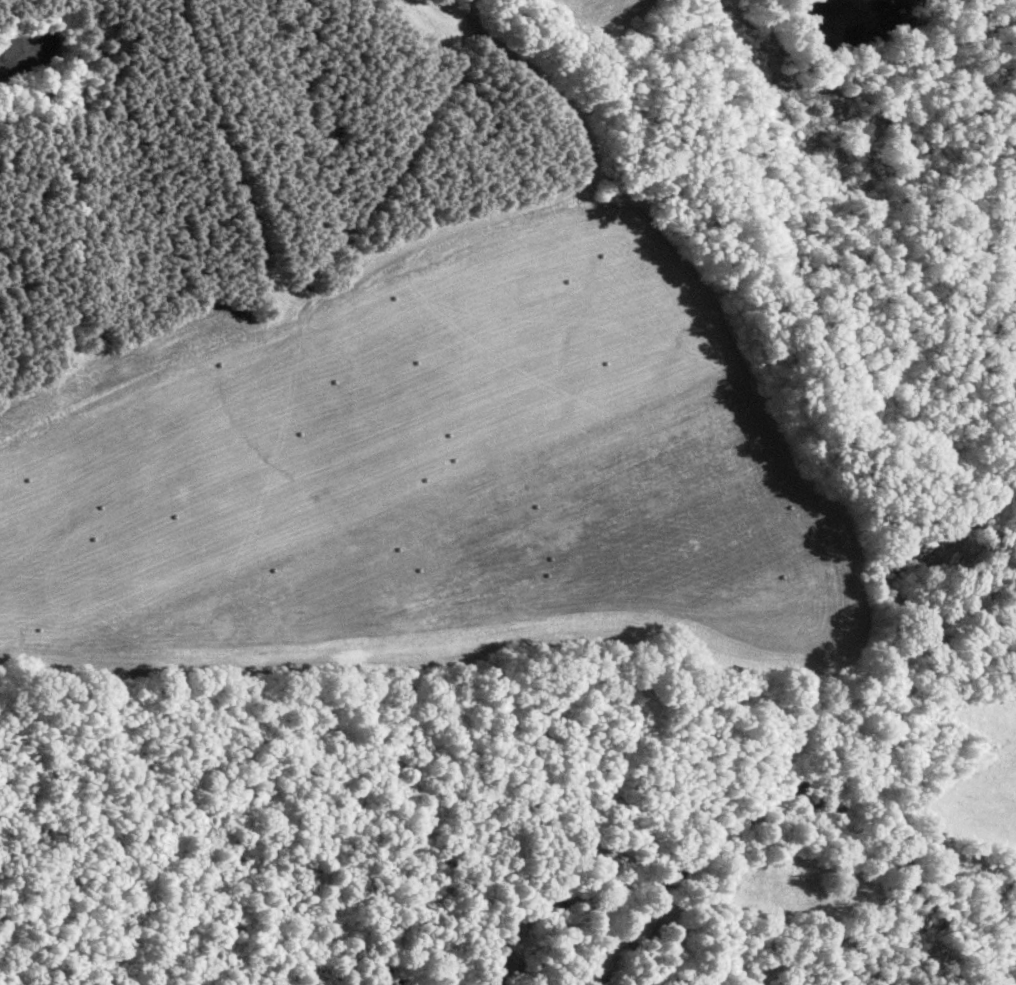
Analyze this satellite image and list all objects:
road: (724, 895)

